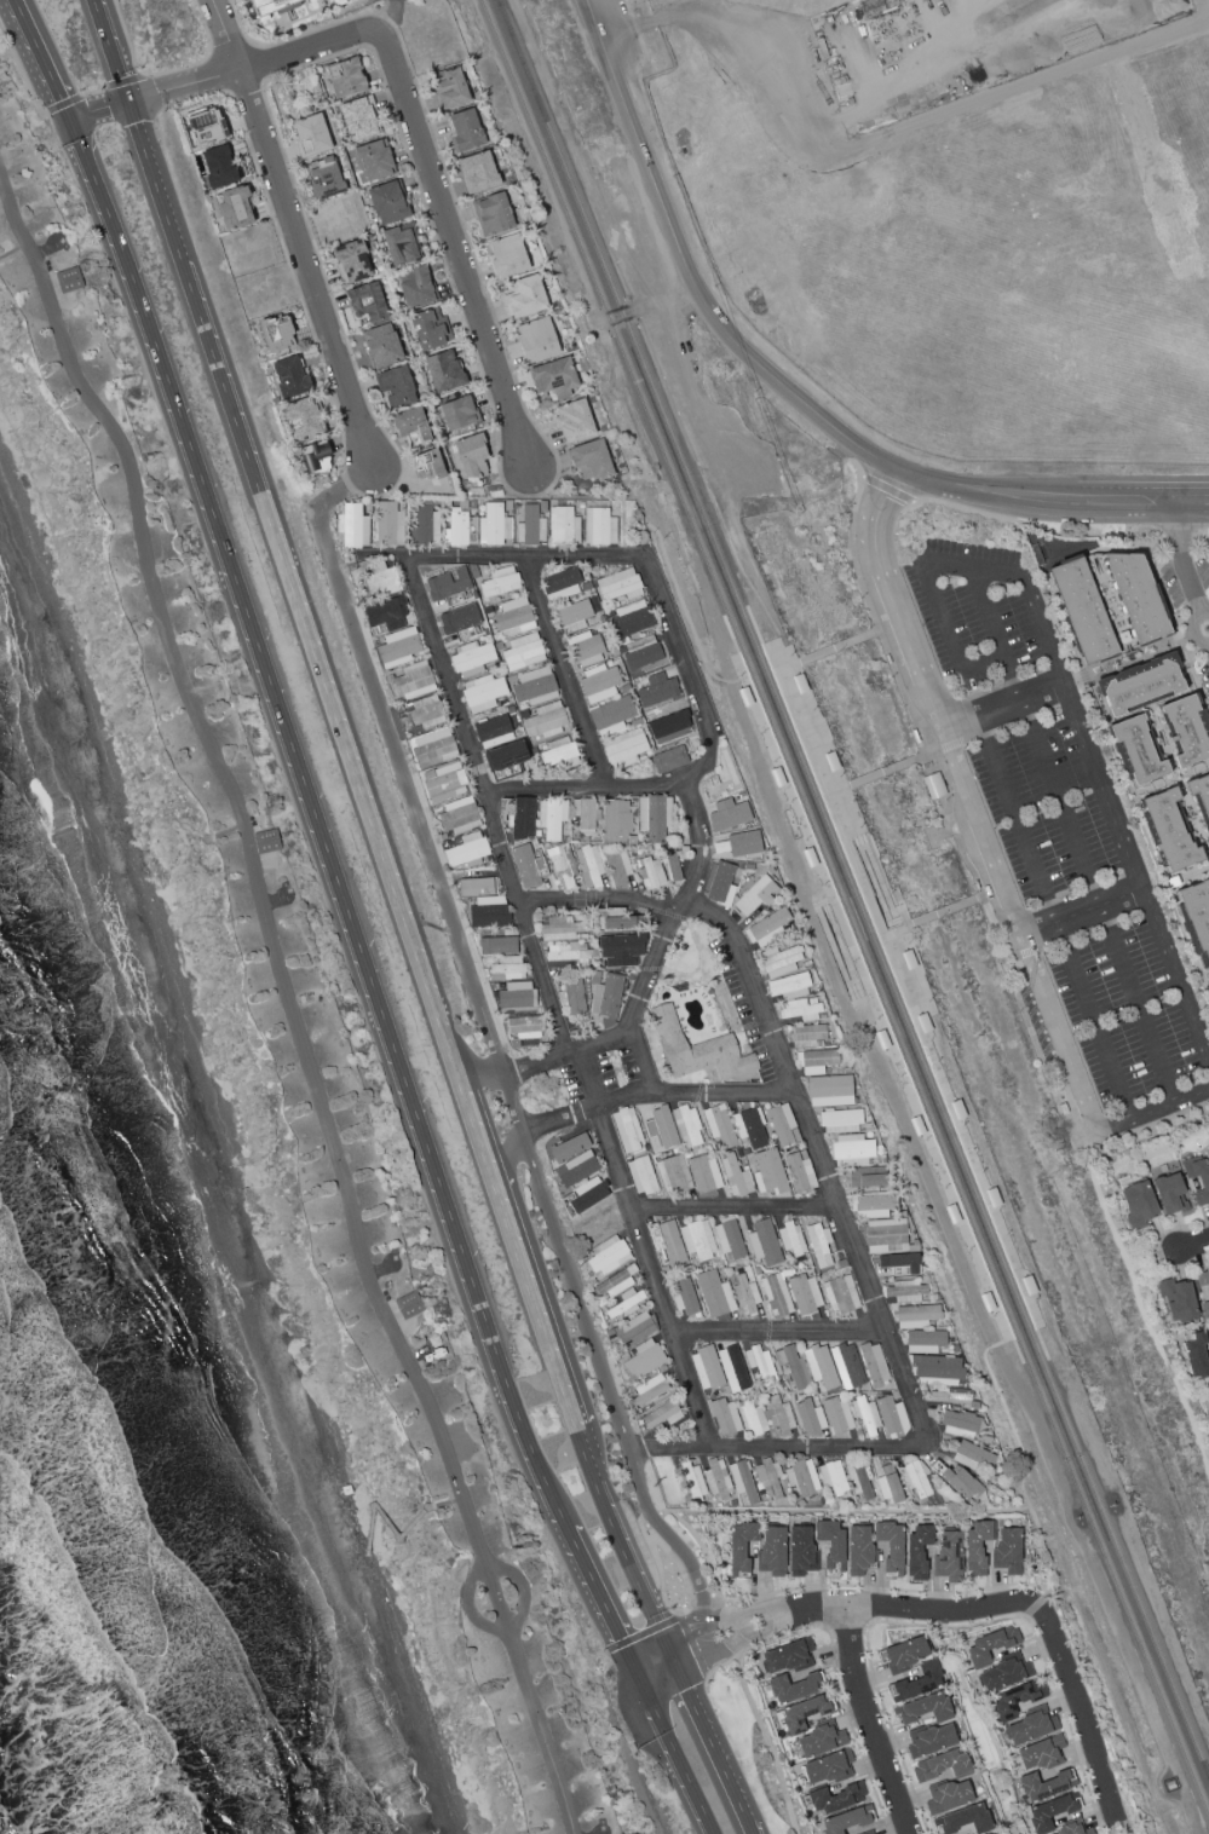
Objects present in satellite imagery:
building: (339, 2)
building: (272, 7)
road: (635, 29)
road: (224, 31)
road: (306, 42)
road: (114, 50)
road: (228, 54)
road: (329, 58)
road: (41, 60)
road: (22, 70)
road: (165, 73)
building: (345, 77)
road: (184, 81)
road: (125, 82)
road: (244, 83)
building: (448, 88)
road: (94, 93)
traffic signals: (132, 99)
road: (63, 104)
road: (102, 110)
building: (358, 119)
traffic signals: (71, 121)
building: (207, 126)
building: (465, 129)
building: (311, 137)
building: (375, 160)
building: (218, 166)
road: (443, 166)
building: (477, 172)
building: (323, 177)
building: (387, 202)
building: (234, 207)
building: (491, 214)
building: (402, 244)
road: (453, 246)
road: (12, 250)
road: (286, 256)
building: (507, 256)
building: (351, 261)
road: (304, 263)
road: (689, 272)
building: (71, 279)
building: (415, 287)
building: (524, 298)
building: (367, 301)
building: (430, 329)
building: (276, 334)
building: (537, 340)
building: (381, 345)
building: (443, 371)
building: (289, 376)
building: (554, 379)
building: (395, 386)
building: (457, 413)
building: (303, 419)
building: (575, 421)
building: (411, 427)
building: (471, 456)
building: (315, 457)
building: (589, 460)
building: (427, 465)
road: (356, 477)
road: (919, 477)
road: (346, 484)
road: (887, 490)
road: (1073, 498)
road: (323, 504)
road: (1021, 521)
building: (387, 524)
building: (531, 524)
building: (494, 525)
building: (351, 526)
building: (563, 526)
building: (598, 526)
building: (460, 529)
road: (1181, 536)
road: (1203, 536)
road: (1100, 549)
road: (1181, 558)
road: (879, 565)
road: (518, 566)
road: (668, 570)
building: (381, 578)
building: (500, 582)
building: (563, 582)
building: (449, 584)
building: (617, 584)
building: (1136, 596)
parking lot: (979, 609)
building: (1083, 611)
building: (386, 613)
building: (572, 616)
building: (513, 617)
building: (631, 618)
road: (1173, 619)
building: (459, 621)
road: (1190, 628)
road: (865, 634)
road: (310, 640)
building: (397, 647)
building: (586, 650)
building: (523, 652)
building: (641, 652)
road: (814, 654)
building: (471, 658)
road: (691, 665)
road: (787, 667)
road: (564, 676)
building: (413, 681)
road: (899, 682)
building: (598, 684)
building: (1140, 684)
building: (534, 686)
building: (657, 690)
building: (482, 692)
road: (931, 693)
road: (1002, 707)
road: (1152, 707)
building: (425, 711)
building: (611, 715)
building: (545, 720)
building: (668, 723)
building: (1186, 729)
building: (493, 731)
road: (974, 737)
road: (986, 738)
building: (432, 748)
building: (623, 748)
building: (1135, 751)
building: (558, 754)
building: (505, 759)
building: (668, 759)
road: (864, 779)
road: (304, 782)
building: (442, 782)
road: (1180, 783)
building: (933, 785)
road: (1101, 786)
road: (587, 788)
road: (836, 790)
building: (1202, 802)
parking lot: (1052, 804)
road: (410, 806)
building: (506, 811)
building: (585, 813)
building: (727, 814)
building: (459, 815)
building: (654, 817)
building: (523, 818)
building: (551, 819)
building: (617, 821)
building: (1165, 829)
road: (223, 831)
road: (848, 831)
road: (980, 832)
road: (841, 834)
road: (1071, 834)
building: (267, 842)
building: (743, 843)
building: (467, 850)
road: (868, 857)
building: (672, 864)
building: (526, 866)
building: (560, 866)
building: (617, 872)
building: (650, 872)
building: (720, 884)
building: (476, 887)
railway: (853, 894)
building: (755, 895)
road: (597, 905)
road: (960, 906)
railway: (847, 910)
building: (488, 911)
road: (1081, 912)
building: (1196, 918)
road: (922, 921)
building: (617, 922)
building: (767, 925)
road: (833, 927)
building: (559, 928)
building: (496, 945)
building: (621, 950)
building: (566, 952)
building: (778, 961)
road: (837, 965)
building: (507, 968)
road: (1175, 976)
building: (1208, 981)
building: (788, 986)
building: (516, 996)
building: (574, 996)
building: (606, 996)
road: (638, 998)
road: (863, 999)
road: (287, 1005)
building: (799, 1010)
parking lot: (1130, 1010)
building: (523, 1027)
road: (1058, 1030)
building: (805, 1036)
building: (697, 1050)
road: (568, 1057)
building: (816, 1061)
road: (1057, 1063)
road: (477, 1068)
building: (829, 1090)
road: (1208, 1102)
road: (513, 1107)
road: (1152, 1108)
road: (586, 1109)
road: (955, 1117)
building: (840, 1120)
building: (719, 1125)
building: (782, 1125)
building: (686, 1126)
building: (749, 1127)
building: (660, 1129)
building: (626, 1130)
road: (927, 1140)
building: (568, 1148)
building: (851, 1148)
road: (507, 1157)
building: (575, 1169)
building: (799, 1171)
building: (768, 1172)
building: (704, 1173)
building: (640, 1175)
building: (673, 1175)
building: (865, 1176)
building: (735, 1177)
building: (1198, 1180)
building: (1170, 1193)
building: (586, 1195)
building: (1136, 1204)
building: (874, 1205)
road: (727, 1209)
building: (885, 1233)
building: (697, 1239)
building: (729, 1239)
building: (790, 1239)
building: (669, 1242)
building: (764, 1242)
building: (818, 1245)
road: (1192, 1245)
road: (1157, 1247)
building: (605, 1257)
building: (899, 1263)
building: (1202, 1278)
building: (615, 1282)
railway: (1032, 1287)
building: (905, 1291)
building: (804, 1293)
building: (714, 1294)
building: (745, 1294)
building: (840, 1294)
building: (776, 1296)
building: (685, 1297)
building: (1176, 1300)
road: (534, 1303)
building: (409, 1305)
building: (1205, 1308)
road: (1141, 1311)
building: (917, 1315)
road: (772, 1323)
building: (634, 1328)
building: (923, 1340)
railway: (1001, 1342)
road: (593, 1344)
building: (1197, 1354)
building: (433, 1357)
building: (759, 1363)
building: (873, 1363)
building: (819, 1366)
building: (846, 1366)
building: (706, 1368)
building: (732, 1368)
building: (795, 1368)
building: (937, 1369)
building: (646, 1372)
building: (948, 1395)
road: (696, 1397)
building: (661, 1414)
building: (778, 1414)
building: (837, 1414)
building: (864, 1415)
building: (725, 1417)
building: (810, 1417)
building: (891, 1417)
building: (750, 1418)
building: (958, 1421)
road: (673, 1451)
building: (972, 1453)
building: (801, 1477)
building: (716, 1478)
building: (833, 1478)
building: (768, 1480)
building: (916, 1480)
building: (693, 1481)
building: (742, 1481)
building: (859, 1481)
building: (960, 1483)
building: (887, 1484)
road: (543, 1486)
road: (441, 1500)
road: (834, 1512)
road: (621, 1545)
building: (831, 1545)
building: (977, 1545)
building: (741, 1546)
building: (890, 1546)
building: (800, 1550)
building: (858, 1550)
building: (1007, 1550)
building: (772, 1551)
building: (917, 1551)
building: (948, 1555)
road: (484, 1561)
road: (1067, 1590)
road: (701, 1593)
road: (597, 1598)
road: (903, 1610)
road: (677, 1615)
road: (574, 1627)
road: (1096, 1643)
building: (989, 1644)
road: (695, 1650)
building: (787, 1657)
traffic signals: (672, 1662)
building: (909, 1668)
building: (1002, 1674)
traffic signals: (635, 1678)
building: (793, 1688)
building: (1013, 1701)
building: (923, 1708)
road: (1105, 1708)
building: (802, 1713)
road: (871, 1723)
road: (1087, 1725)
building: (1029, 1728)
building: (929, 1740)
building: (819, 1741)
road: (767, 1744)
road: (708, 1748)
road: (669, 1753)
building: (1041, 1754)
building: (942, 1765)
building: (827, 1767)
road: (632, 1769)
building: (1044, 1784)
building: (948, 1796)
building: (835, 1798)
building: (1052, 1813)
building: (846, 1819)
building: (1072, 1830)
building: (989, 1833)

